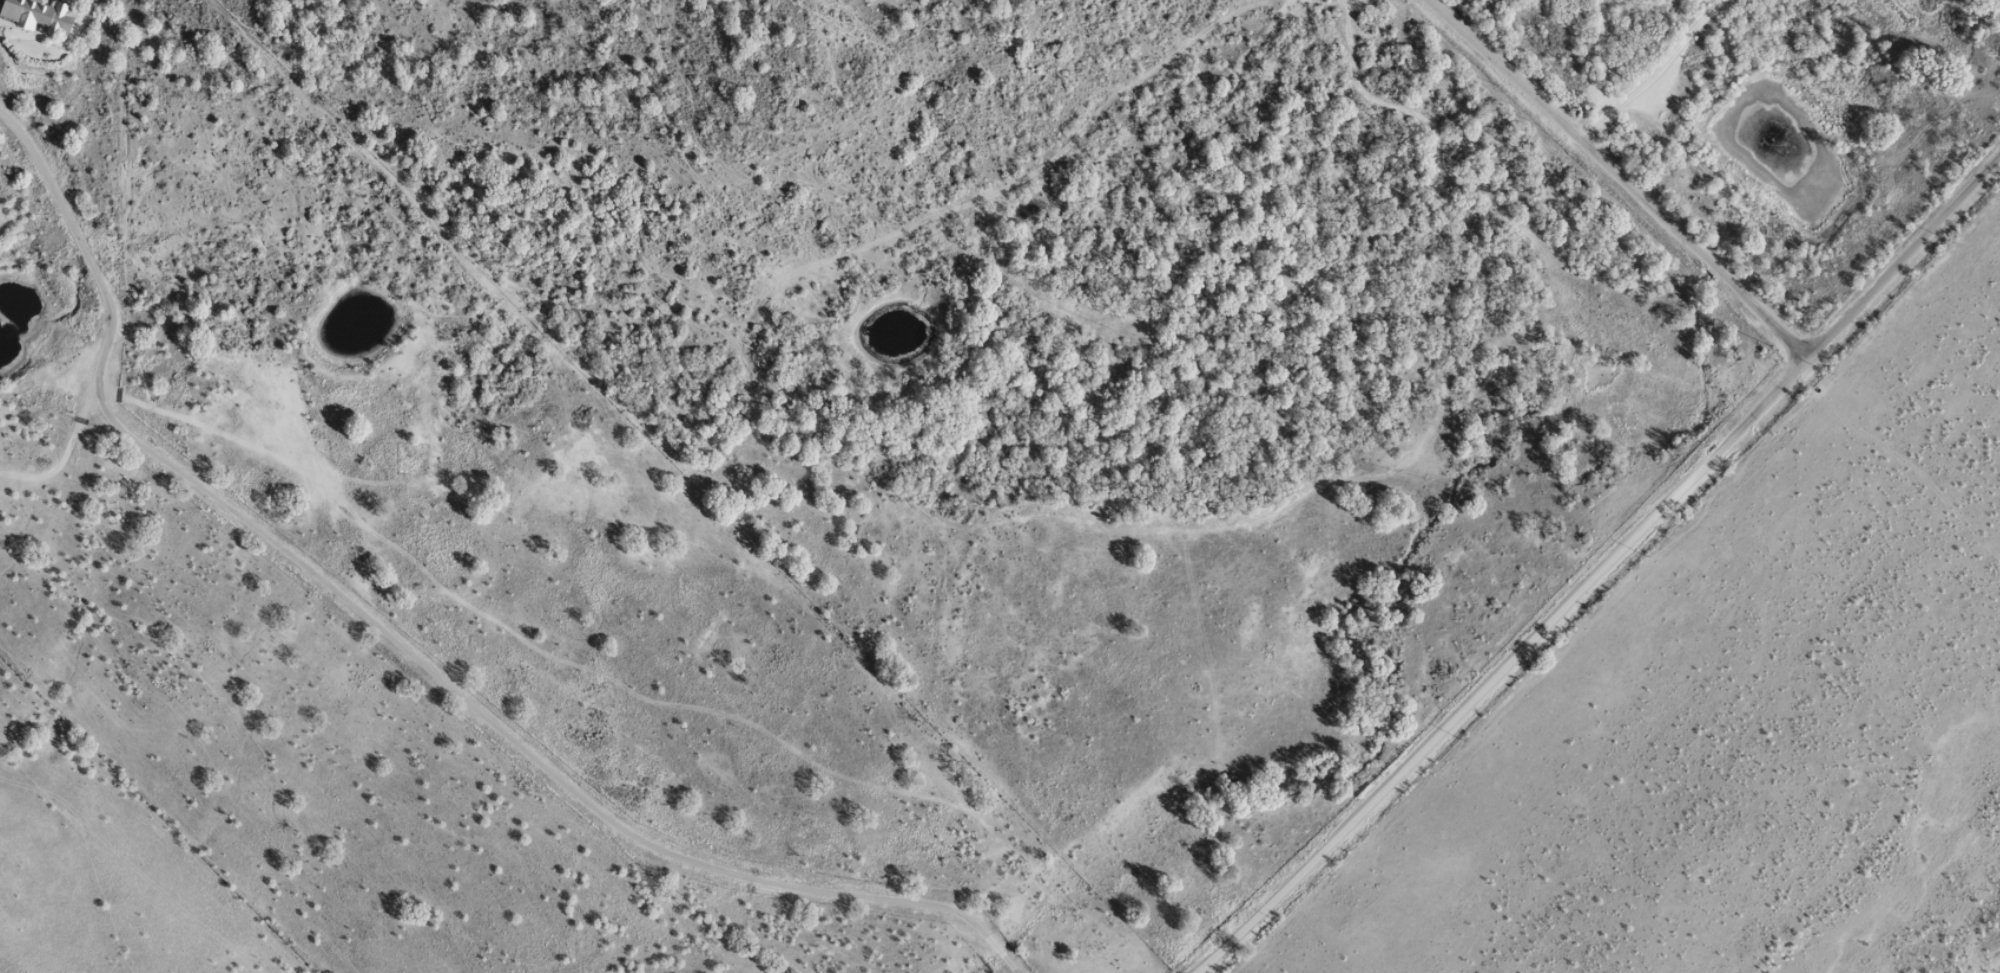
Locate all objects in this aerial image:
building: (35, 15)
road: (1595, 59)
road: (1605, 169)
road: (1892, 251)
road: (1482, 661)

